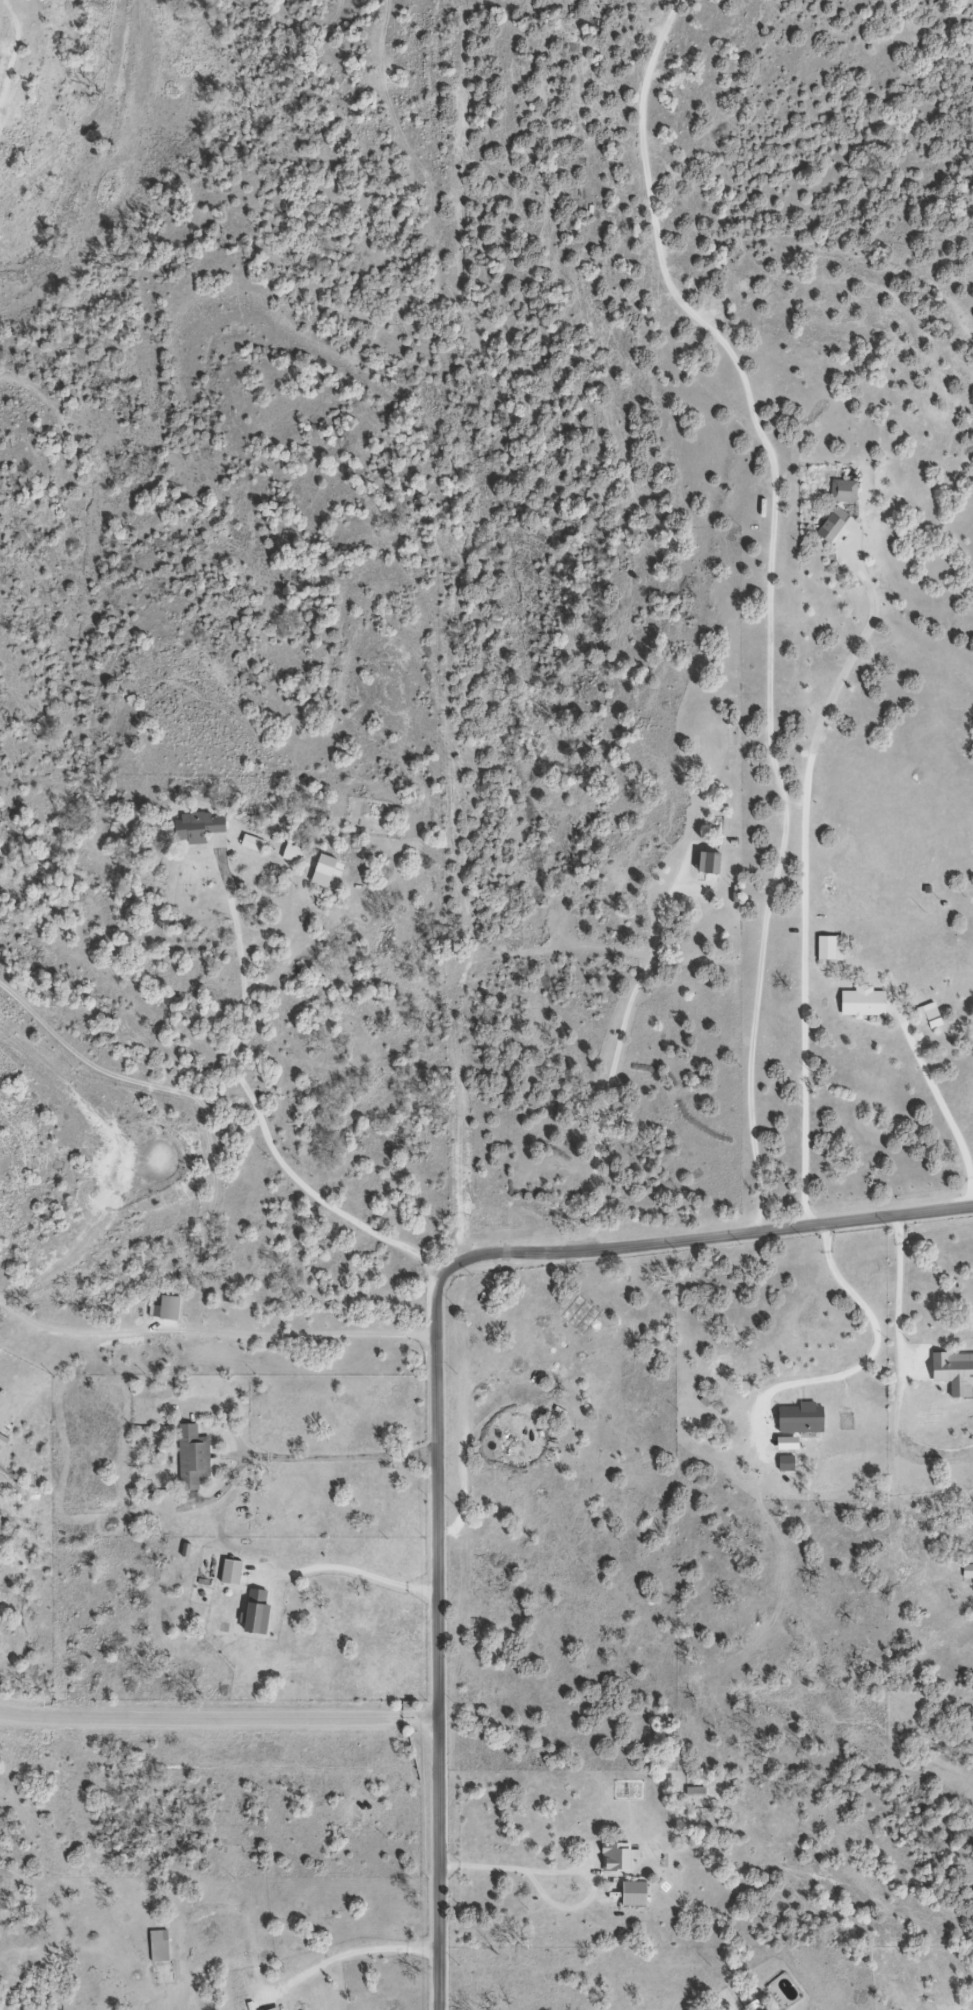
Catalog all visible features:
building: (843, 490)
building: (833, 525)
road: (775, 594)
building: (202, 827)
building: (256, 843)
building: (297, 855)
building: (716, 864)
road: (811, 875)
building: (834, 948)
building: (867, 1003)
building: (926, 1017)
road: (612, 1067)
road: (257, 1101)
road: (939, 1107)
road: (899, 1287)
building: (172, 1309)
road: (212, 1333)
road: (874, 1350)
road: (435, 1372)
building: (951, 1372)
building: (798, 1419)
road: (339, 1456)
building: (195, 1457)
road: (353, 1570)
building: (235, 1572)
building: (966, 1572)
building: (262, 1613)
road: (218, 1719)
building: (612, 1858)
road: (512, 1865)
building: (630, 1895)
building: (161, 1946)
road: (354, 1949)
building: (279, 2009)

